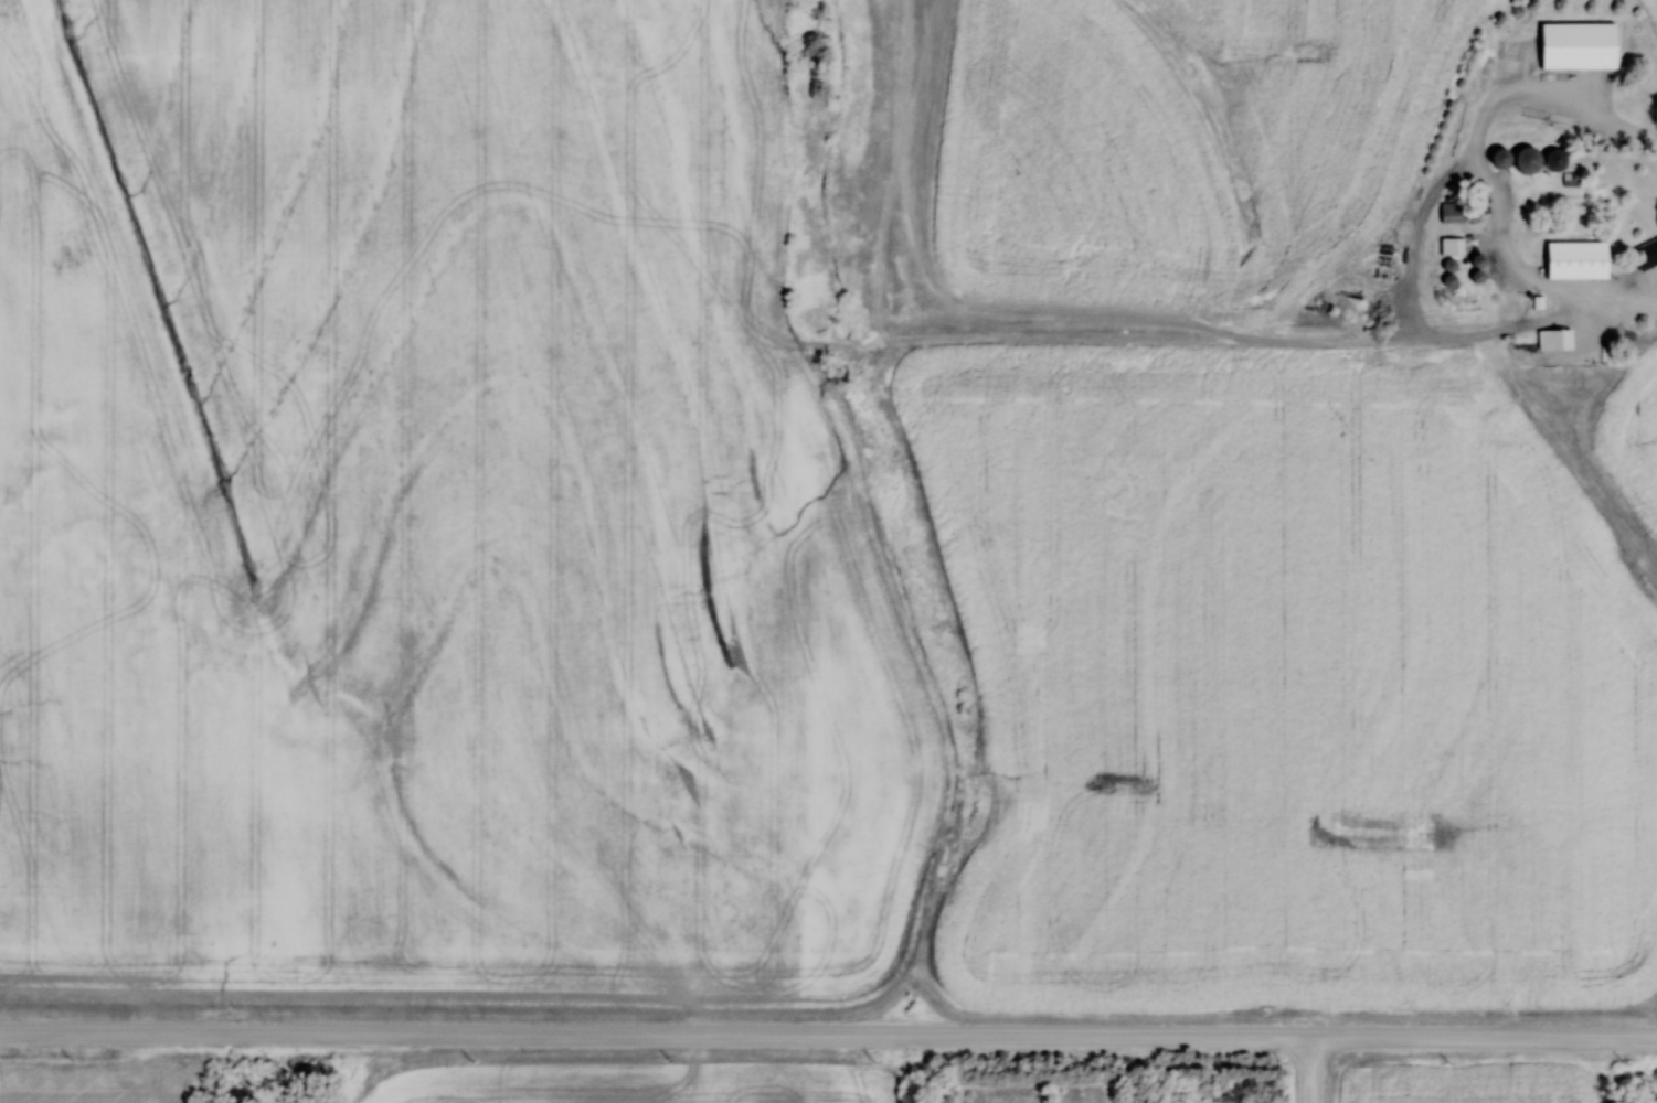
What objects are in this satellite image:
building: (1575, 45)
building: (1515, 159)
building: (1553, 160)
road: (1483, 172)
building: (1571, 180)
building: (1452, 213)
building: (1451, 246)
building: (1647, 254)
building: (1575, 260)
building: (1552, 340)
road: (722, 1036)
road: (1342, 1038)
road: (1550, 1039)
road: (1306, 1070)

